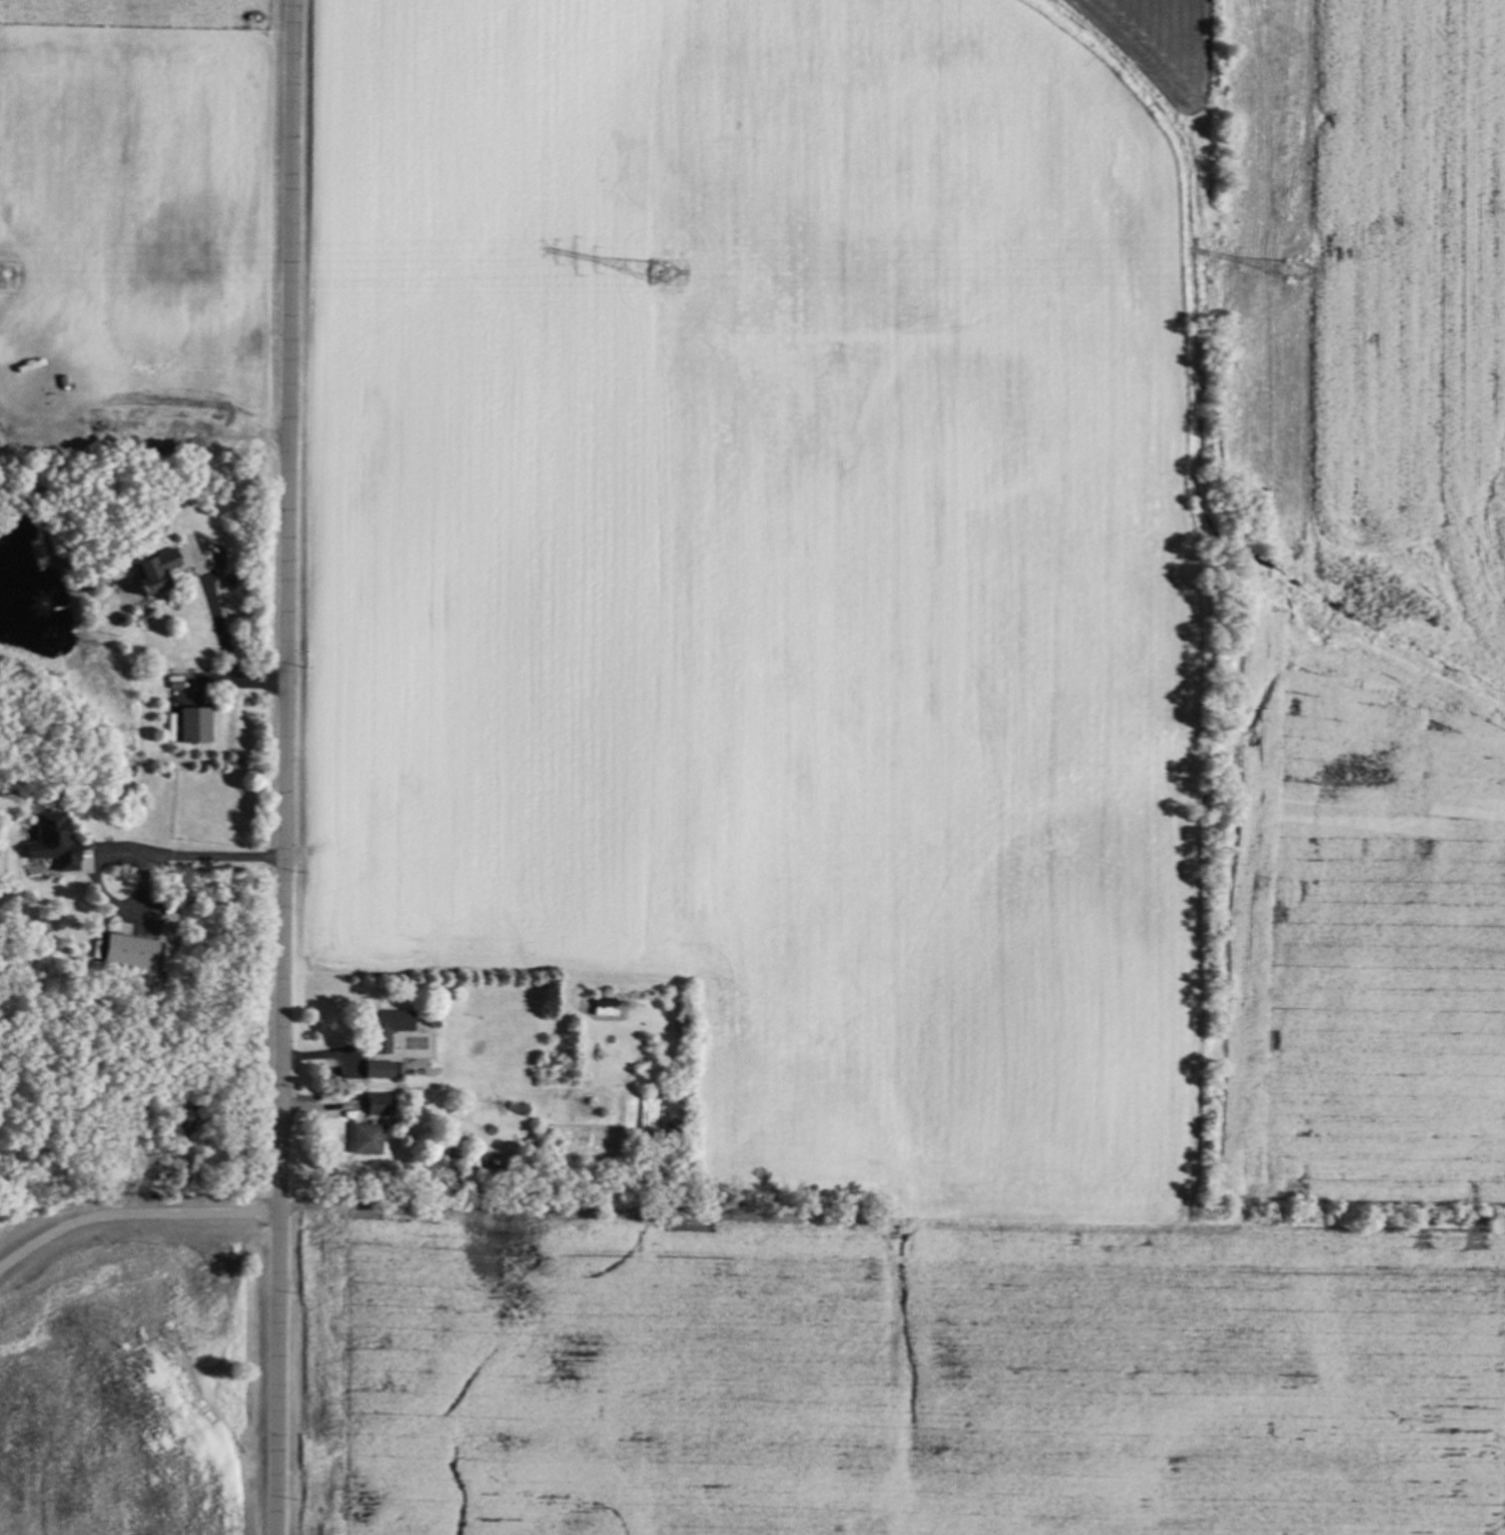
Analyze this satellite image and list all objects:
crop: (135, 229)
power tower: (3, 284)
power tower: (661, 286)
power tower: (1296, 287)
road: (225, 653)
building: (191, 723)
road: (287, 767)
crop: (909, 770)
building: (48, 839)
road: (125, 854)
building: (127, 951)
building: (387, 1026)
building: (376, 1068)
building: (377, 1103)
building: (362, 1138)
road: (133, 1207)

